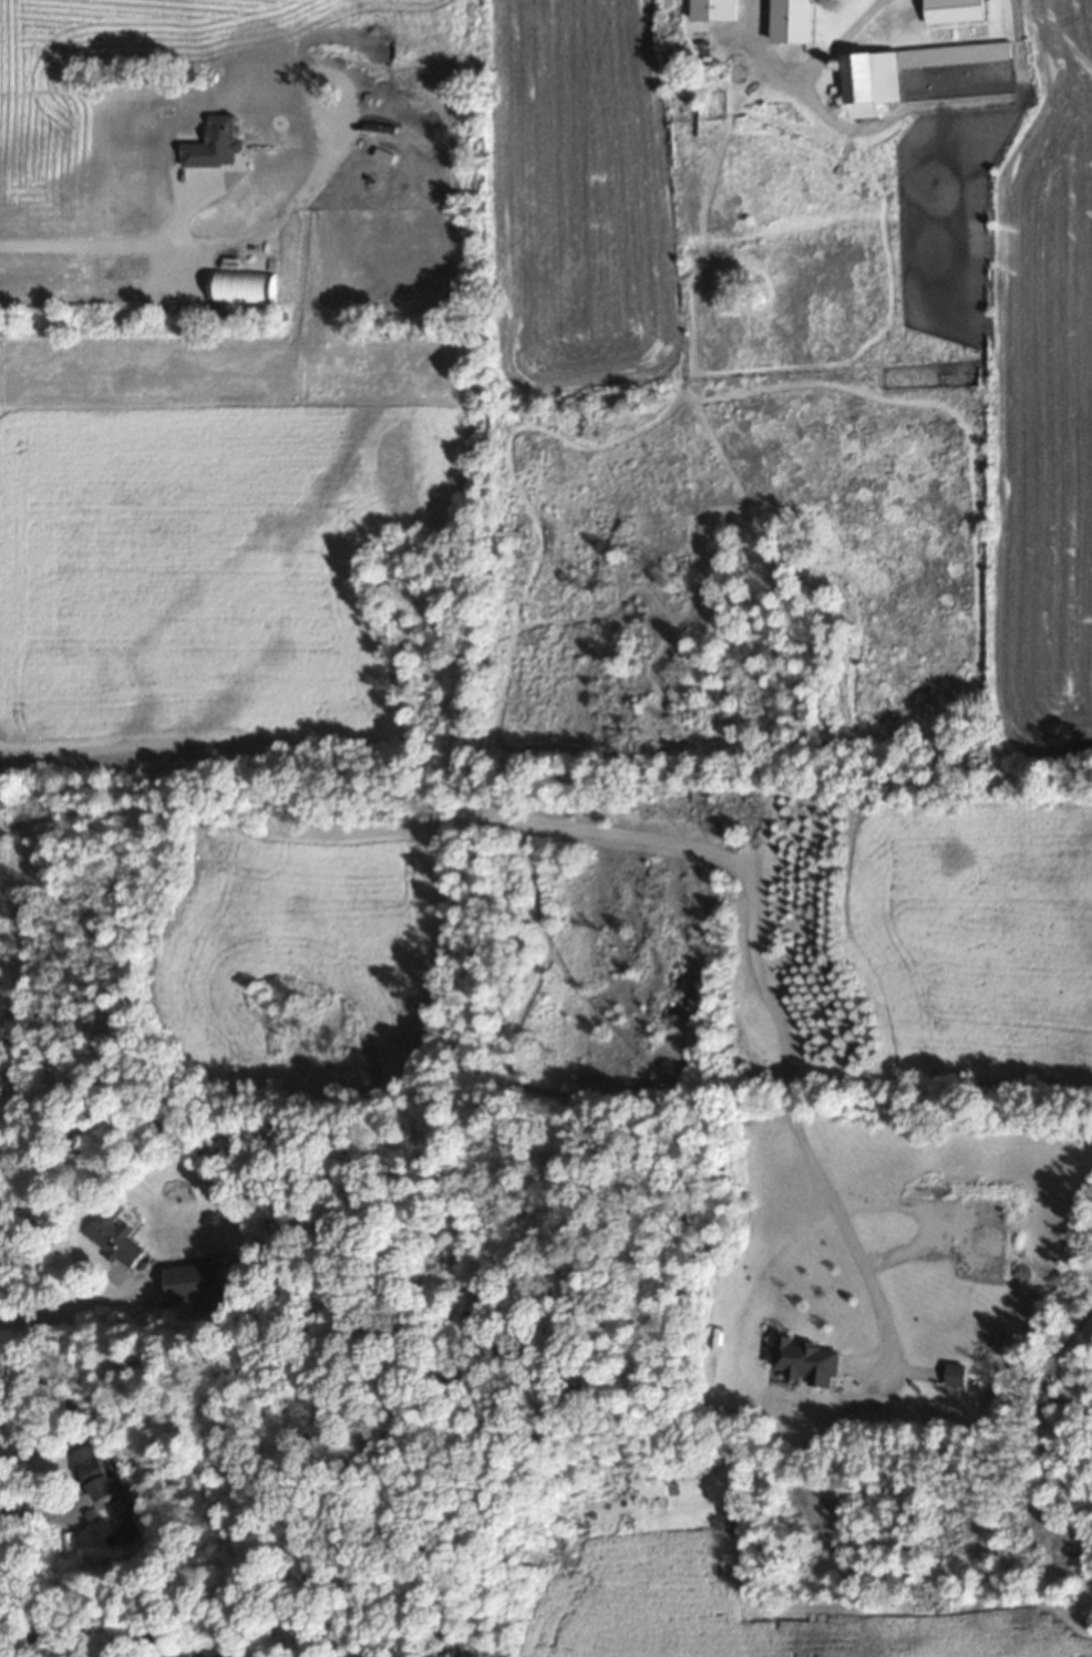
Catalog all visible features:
building: (718, 10)
building: (955, 10)
building: (799, 21)
road: (805, 71)
building: (874, 83)
building: (506, 532)
road: (616, 832)
building: (114, 1233)
building: (193, 1278)
building: (808, 1359)
building: (955, 1374)
building: (94, 1472)
building: (650, 1485)

